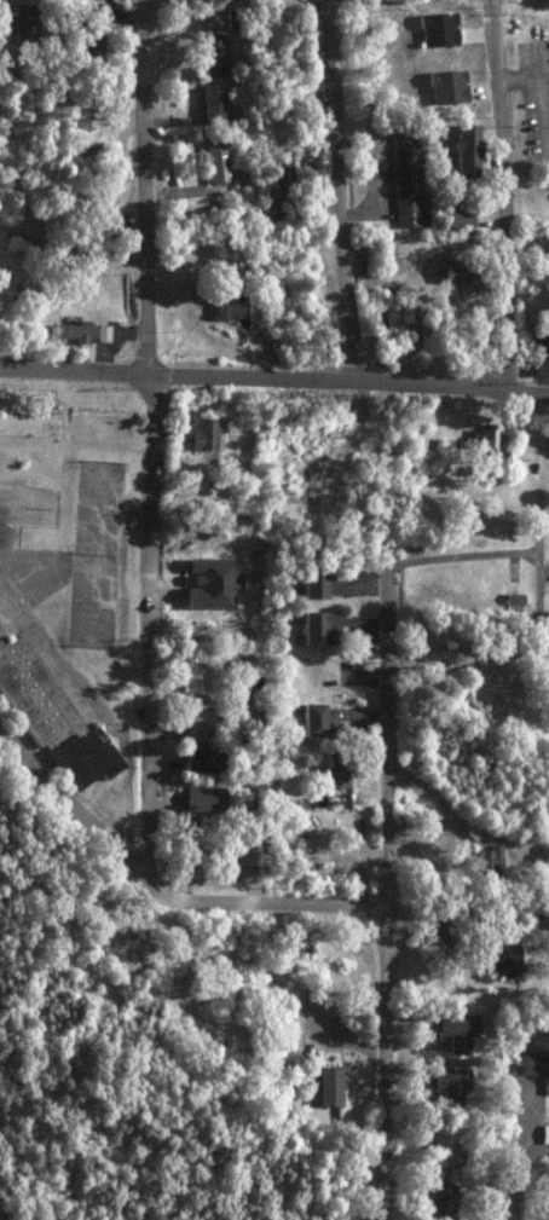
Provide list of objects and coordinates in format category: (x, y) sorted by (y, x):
building: (97, 12)
building: (23, 21)
building: (92, 48)
building: (219, 52)
building: (214, 104)
building: (85, 150)
building: (218, 163)
building: (409, 178)
road: (345, 189)
road: (504, 195)
building: (461, 215)
road: (73, 251)
building: (467, 272)
building: (229, 307)
building: (75, 331)
building: (102, 333)
building: (541, 352)
road: (274, 375)
park: (28, 410)
building: (203, 434)
road: (154, 439)
building: (490, 440)
park: (97, 505)
park: (75, 527)
building: (215, 580)
building: (319, 583)
park: (91, 599)
building: (514, 599)
building: (319, 629)
road: (385, 660)
building: (195, 681)
building: (50, 717)
building: (318, 721)
building: (197, 722)
building: (200, 759)
building: (333, 771)
building: (201, 799)
building: (191, 842)
building: (289, 856)
building: (489, 860)
road: (163, 894)
building: (501, 959)
building: (456, 1029)
building: (533, 1062)
road: (387, 1066)
building: (329, 1085)
building: (450, 1085)
building: (544, 1133)
building: (445, 1146)
road: (519, 1173)
building: (445, 1201)

